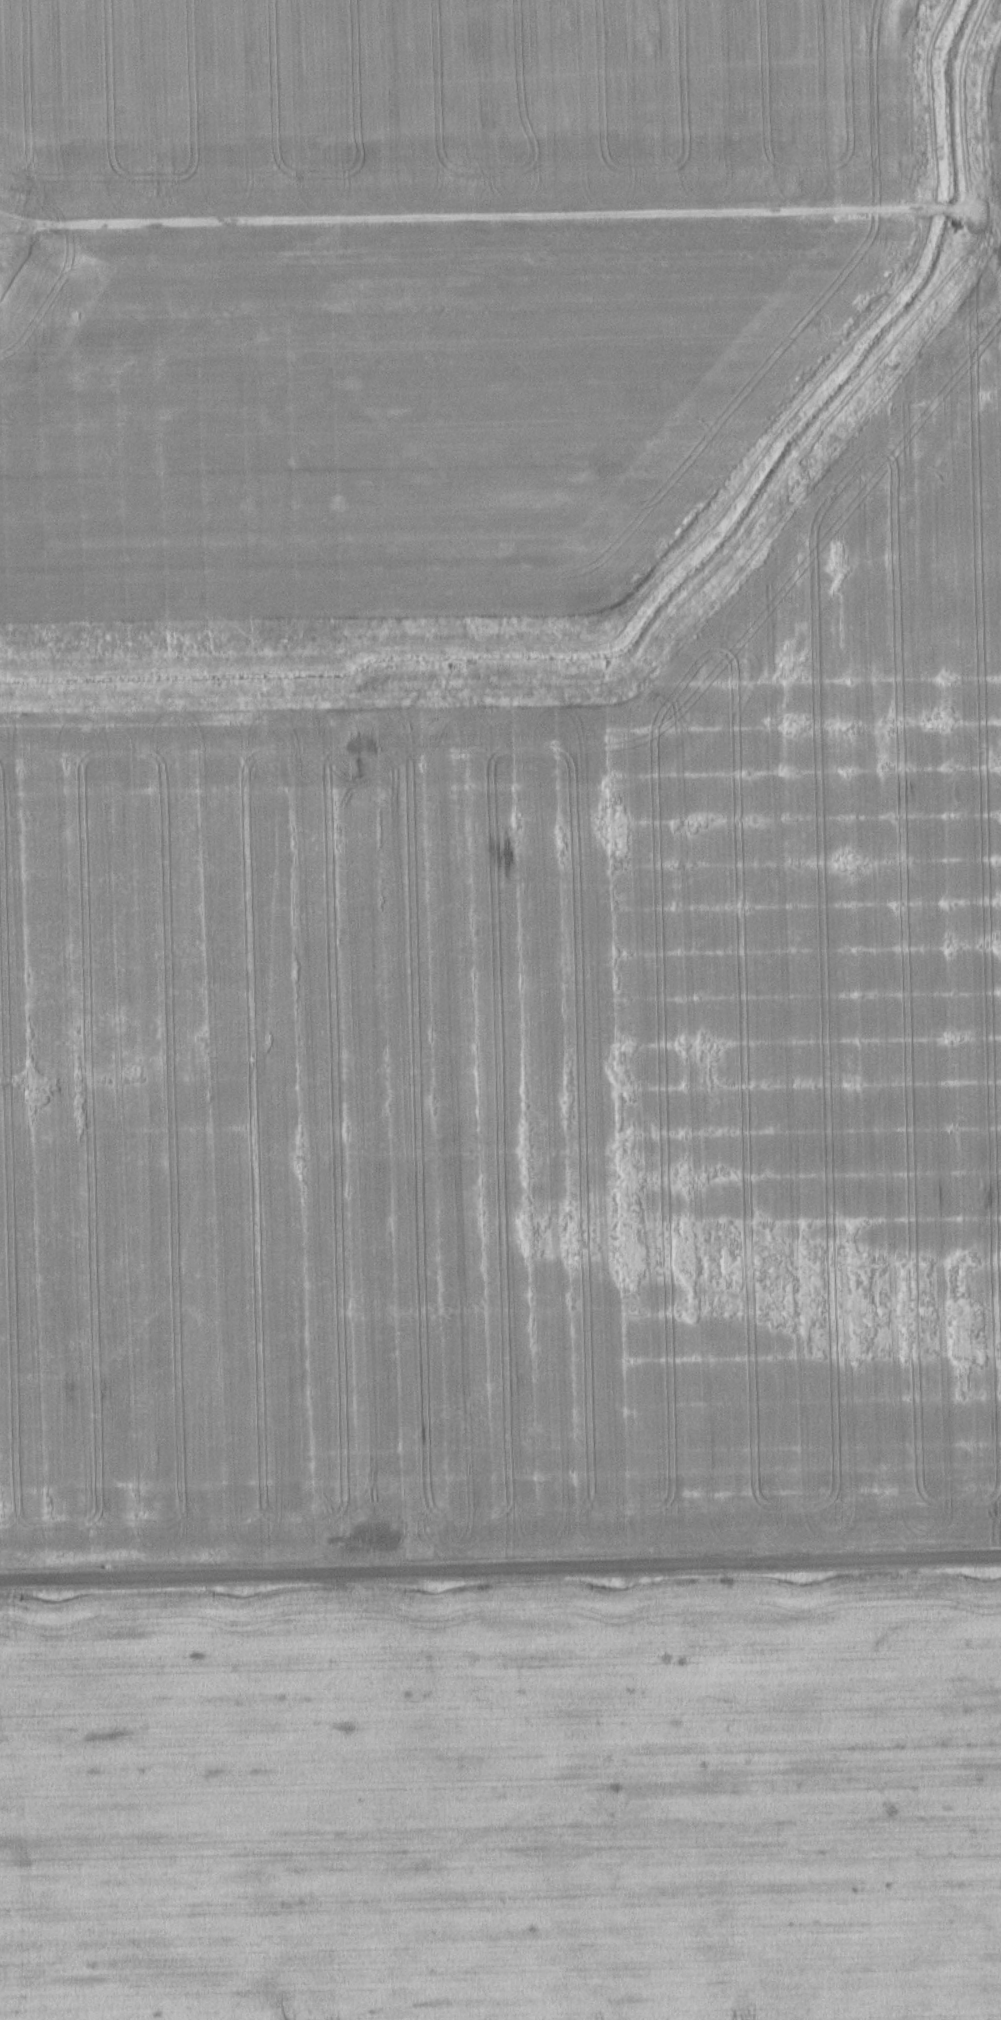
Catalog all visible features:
road: (500, 1565)

